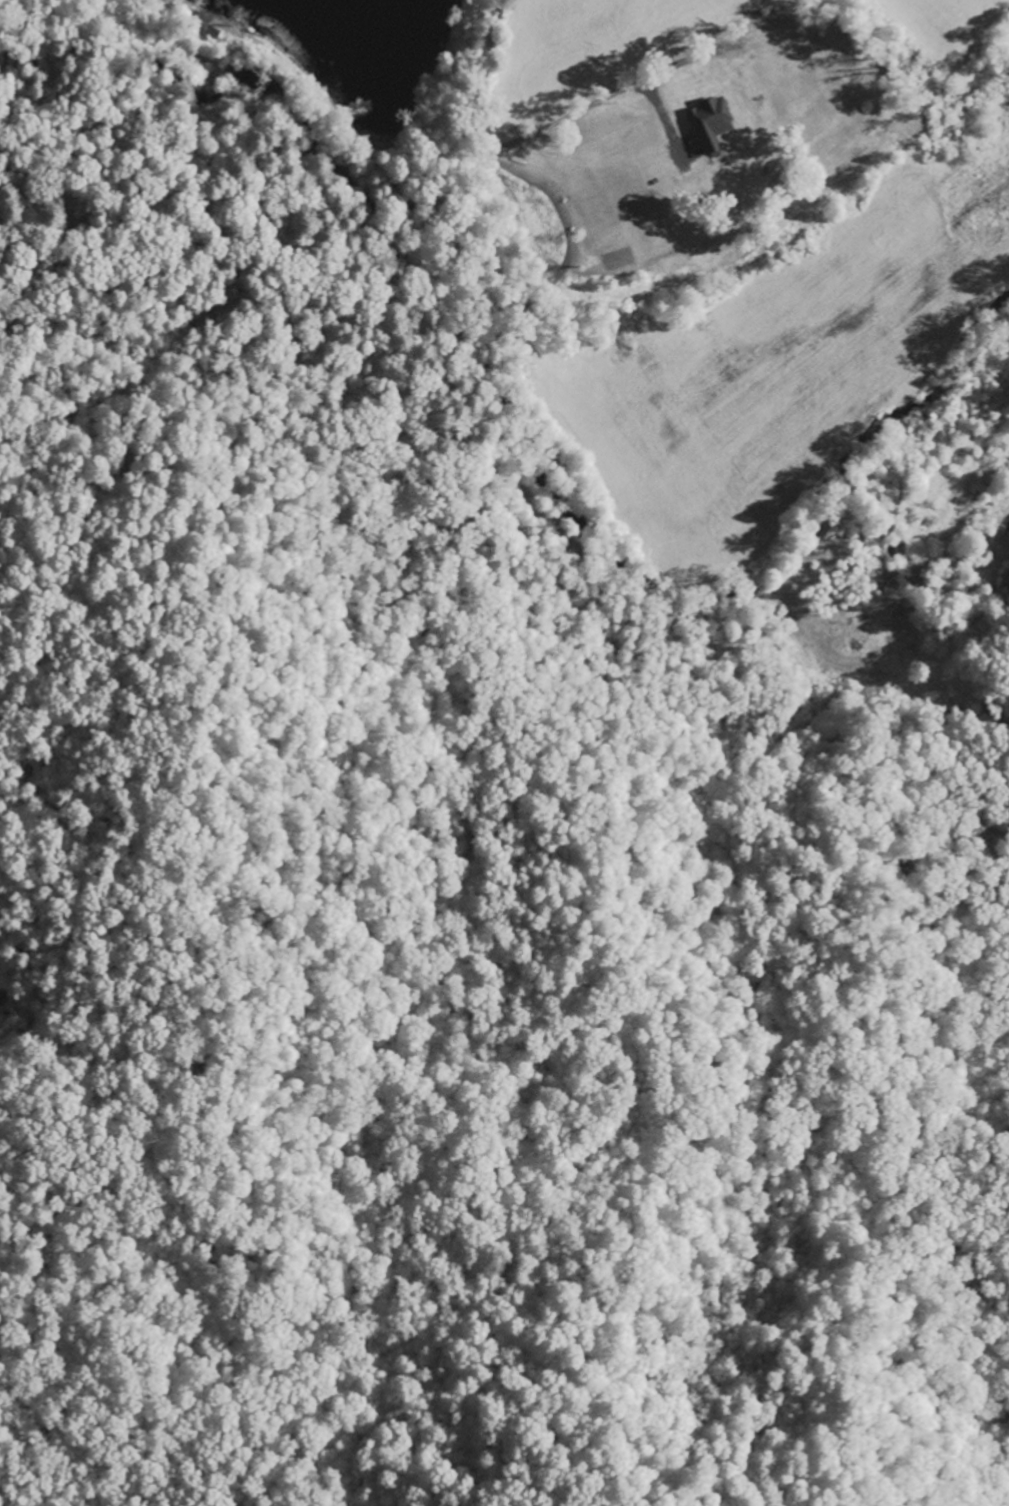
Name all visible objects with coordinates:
building: (710, 123)
road: (531, 129)
road: (748, 148)

